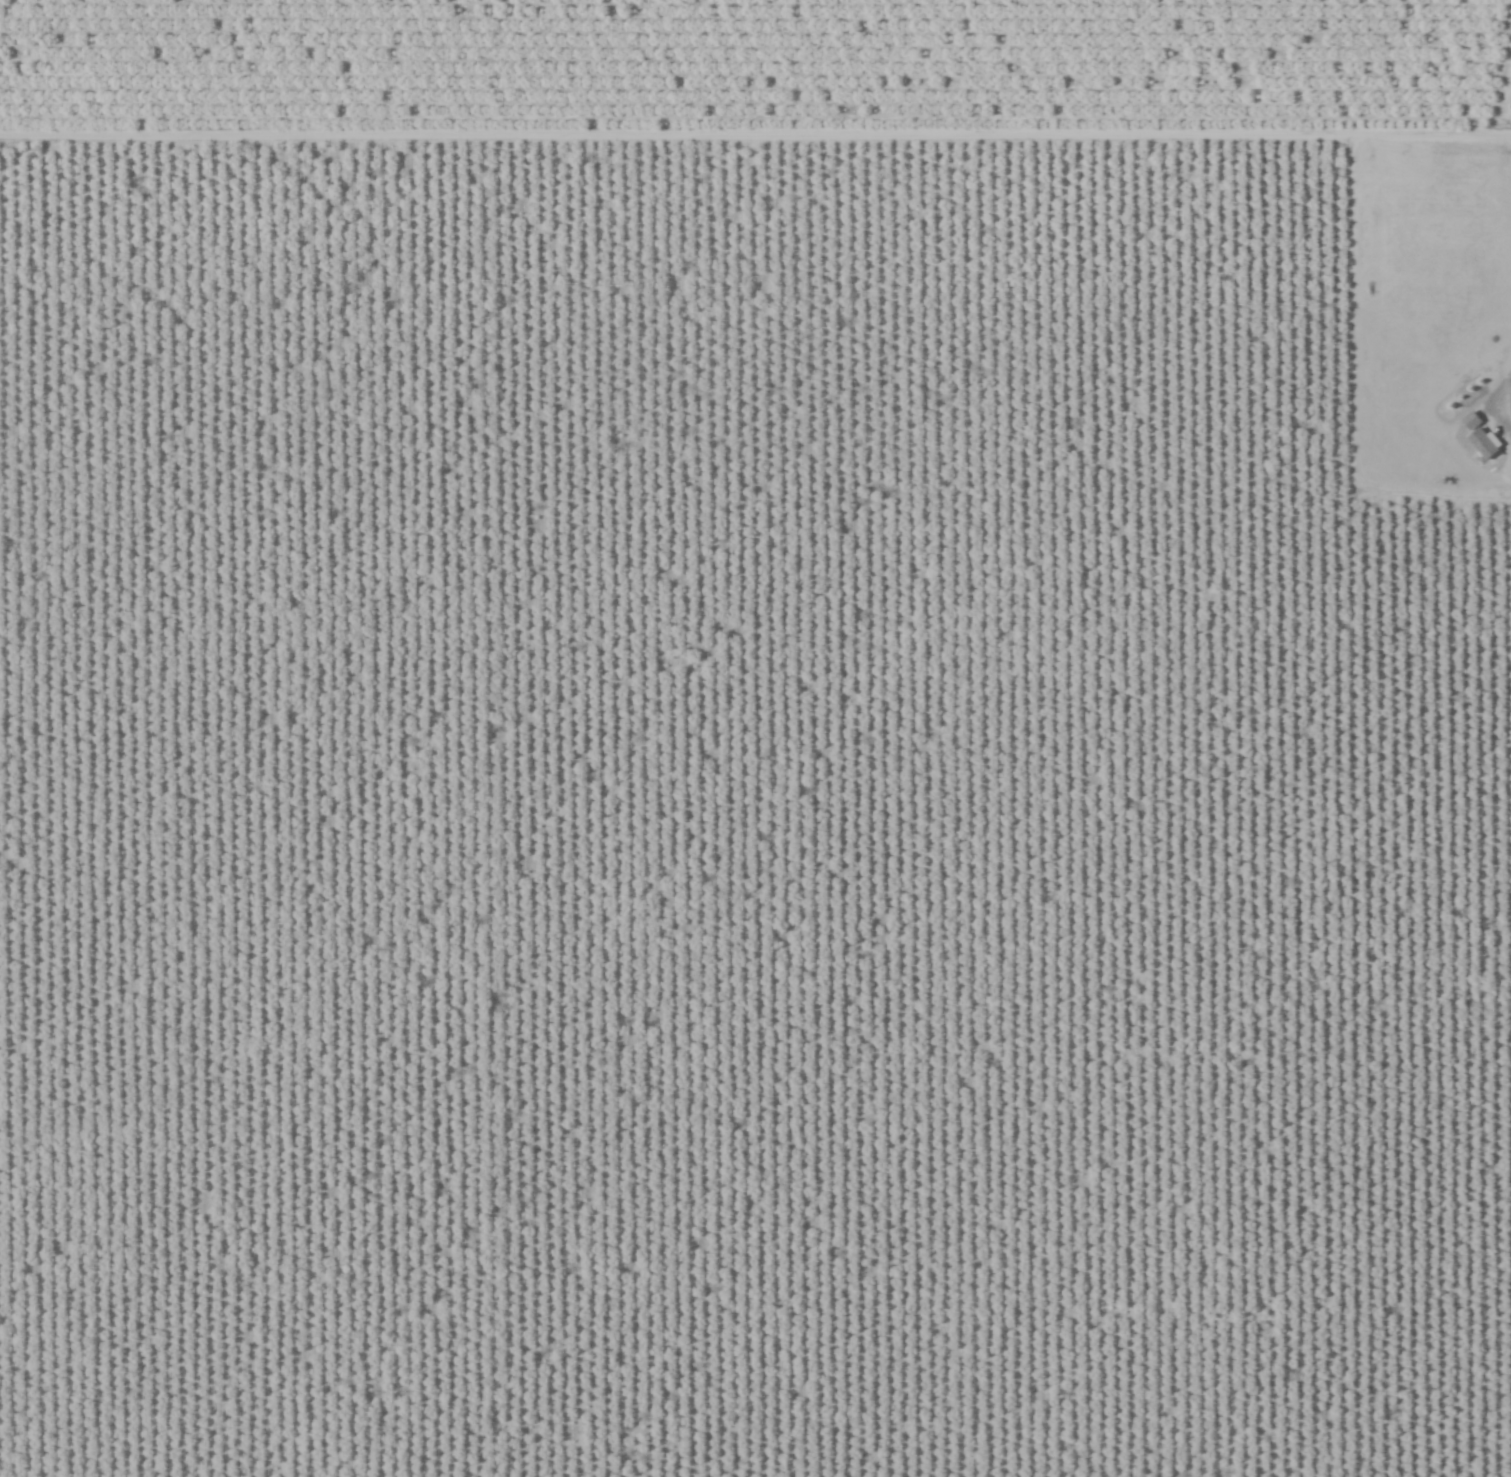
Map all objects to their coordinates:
road: (1269, 130)
road: (488, 142)
road: (1499, 388)
building: (1509, 406)
building: (1477, 438)
crop: (755, 738)

